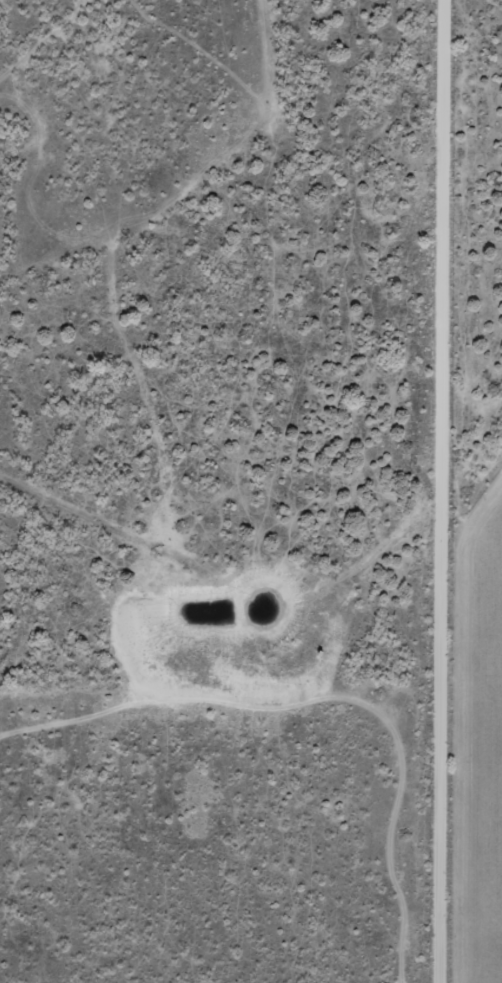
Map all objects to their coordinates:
road: (436, 491)

